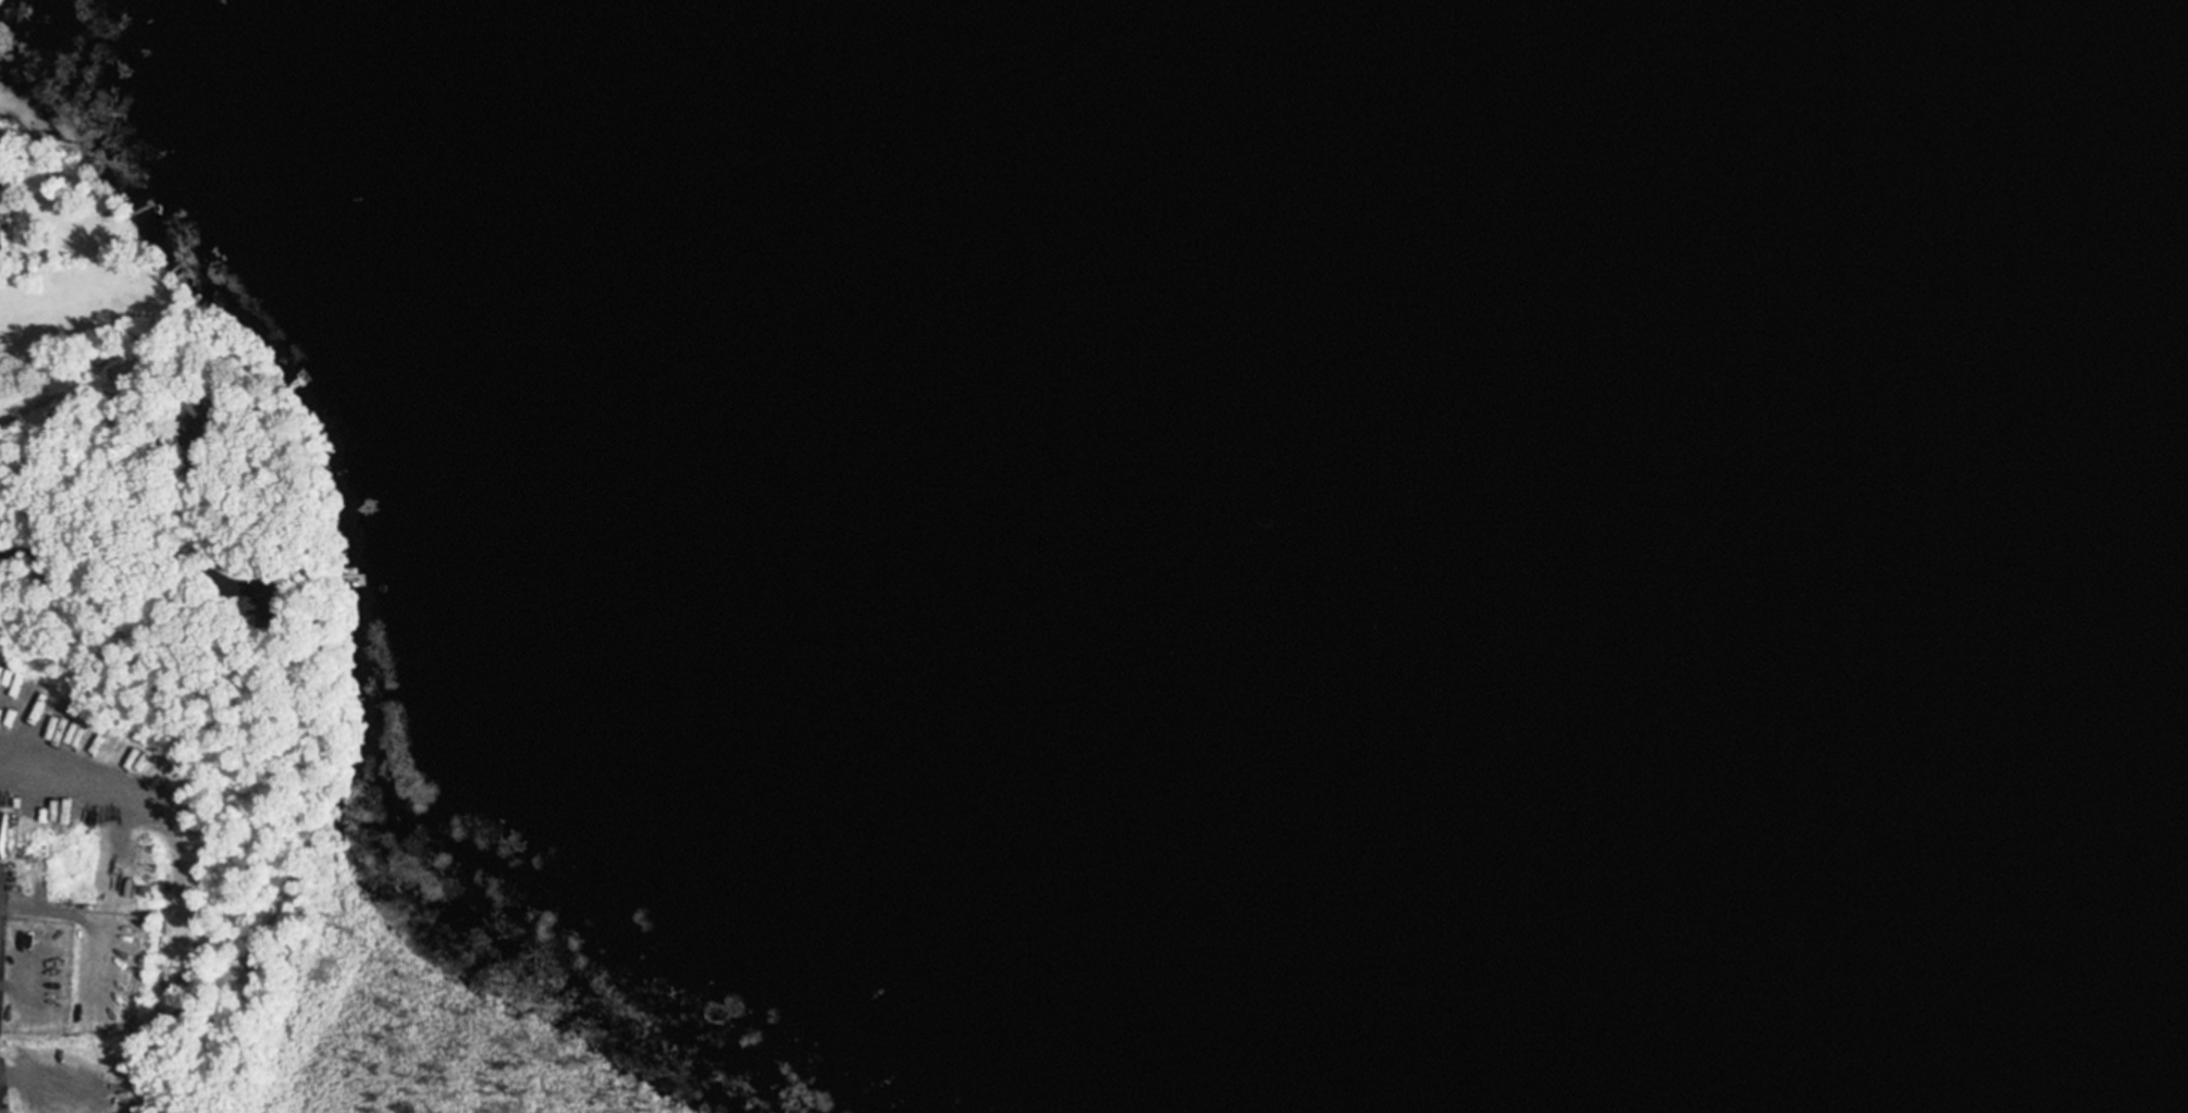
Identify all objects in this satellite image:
building: (197, 417)
road: (116, 559)
building: (260, 599)
building: (1, 677)
building: (23, 696)
building: (0, 825)

